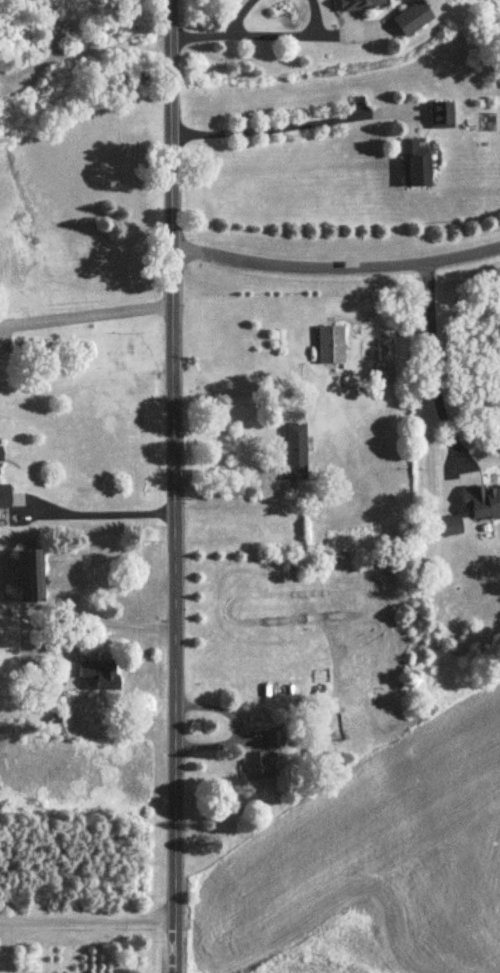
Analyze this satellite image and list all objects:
building: (358, 5)
building: (413, 21)
road: (54, 29)
road: (227, 34)
road: (82, 50)
building: (443, 115)
road: (272, 129)
building: (416, 165)
road: (336, 269)
road: (87, 311)
building: (331, 346)
road: (433, 357)
building: (296, 452)
building: (1, 454)
road: (226, 469)
road: (174, 486)
building: (5, 496)
building: (481, 502)
road: (103, 513)
building: (449, 526)
building: (30, 576)
road: (112, 625)
building: (100, 674)
building: (274, 740)
building: (258, 767)
crop: (378, 869)
road: (87, 921)

